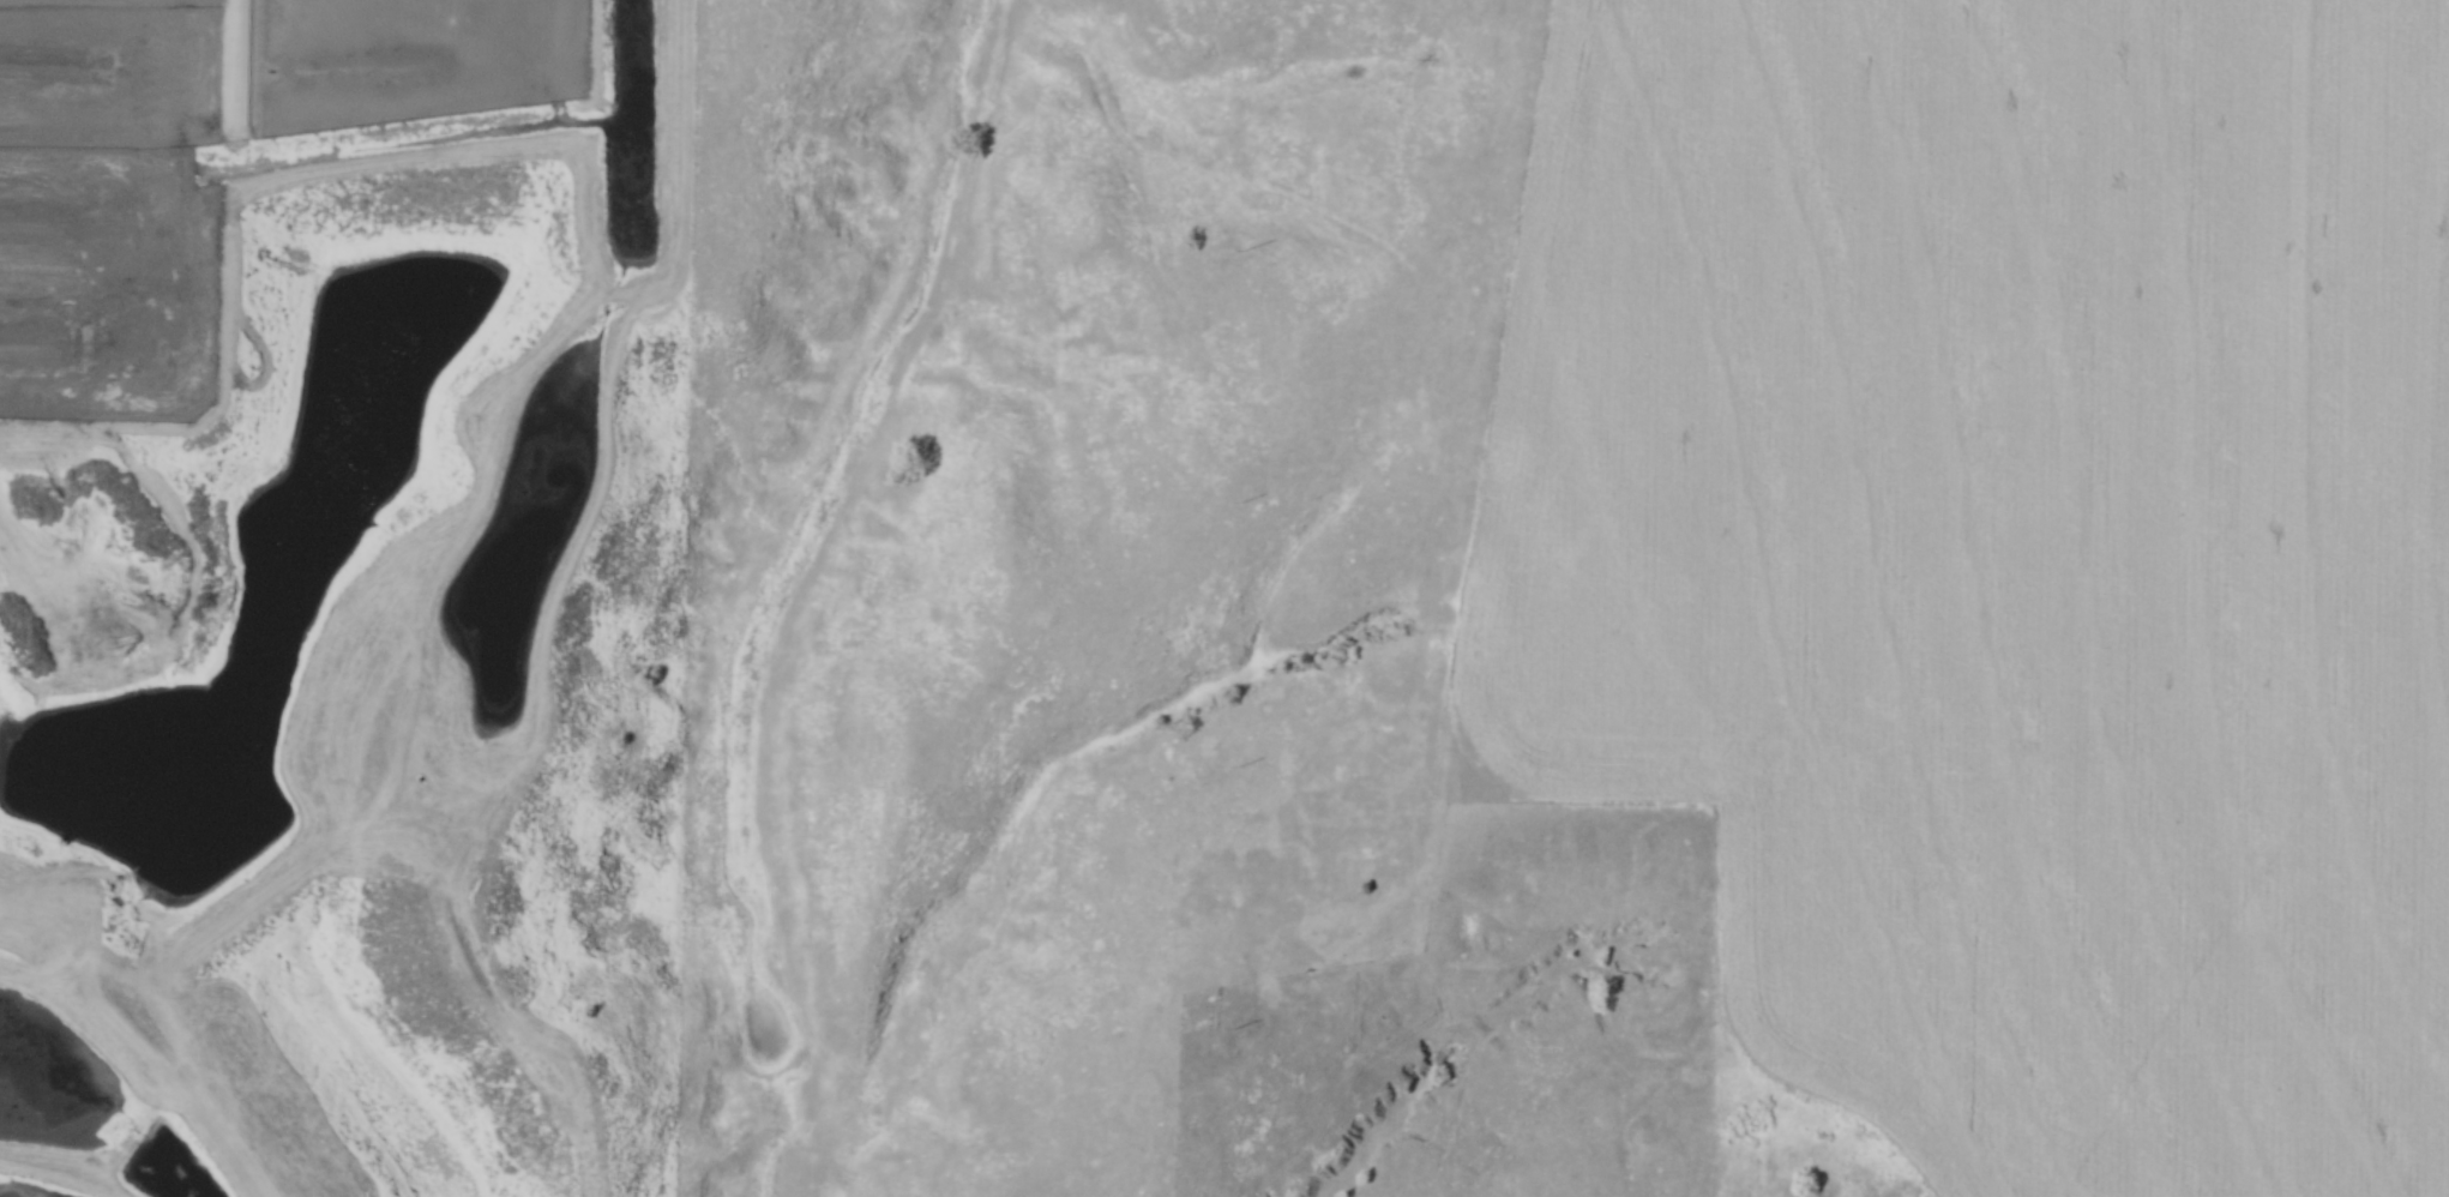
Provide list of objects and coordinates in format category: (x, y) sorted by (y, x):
crop: (2008, 558)

